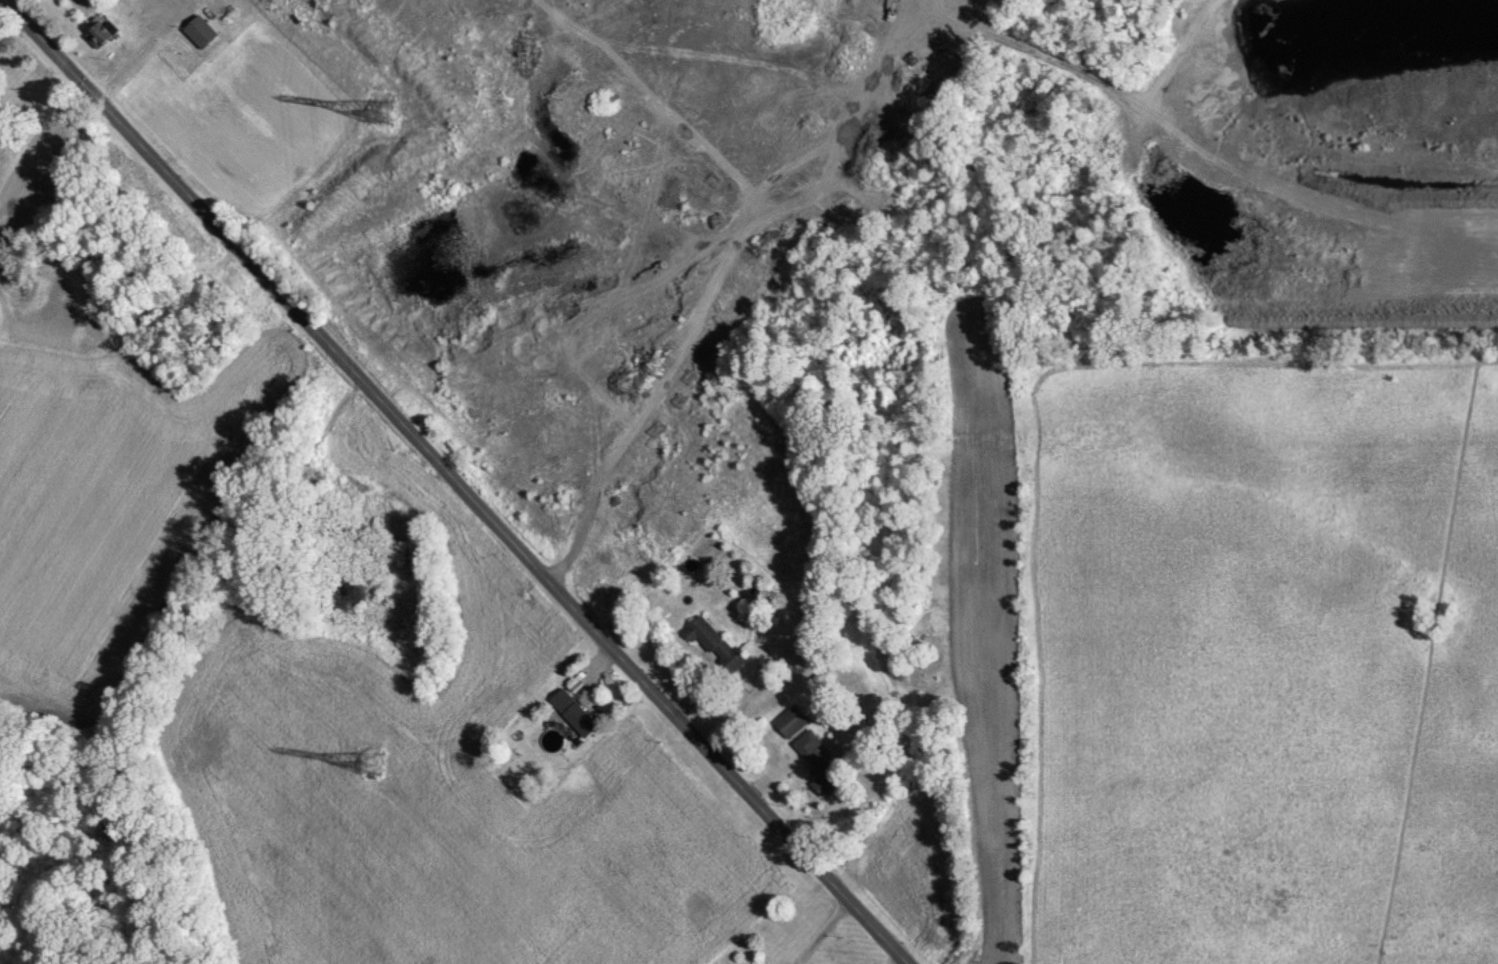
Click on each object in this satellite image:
road: (11, 26)
building: (201, 30)
building: (100, 34)
power tower: (383, 108)
road: (606, 461)
road: (462, 481)
building: (712, 642)
road: (1450, 706)
building: (570, 712)
building: (788, 720)
power tower: (368, 758)
building: (814, 762)
road: (825, 931)
road: (900, 958)

